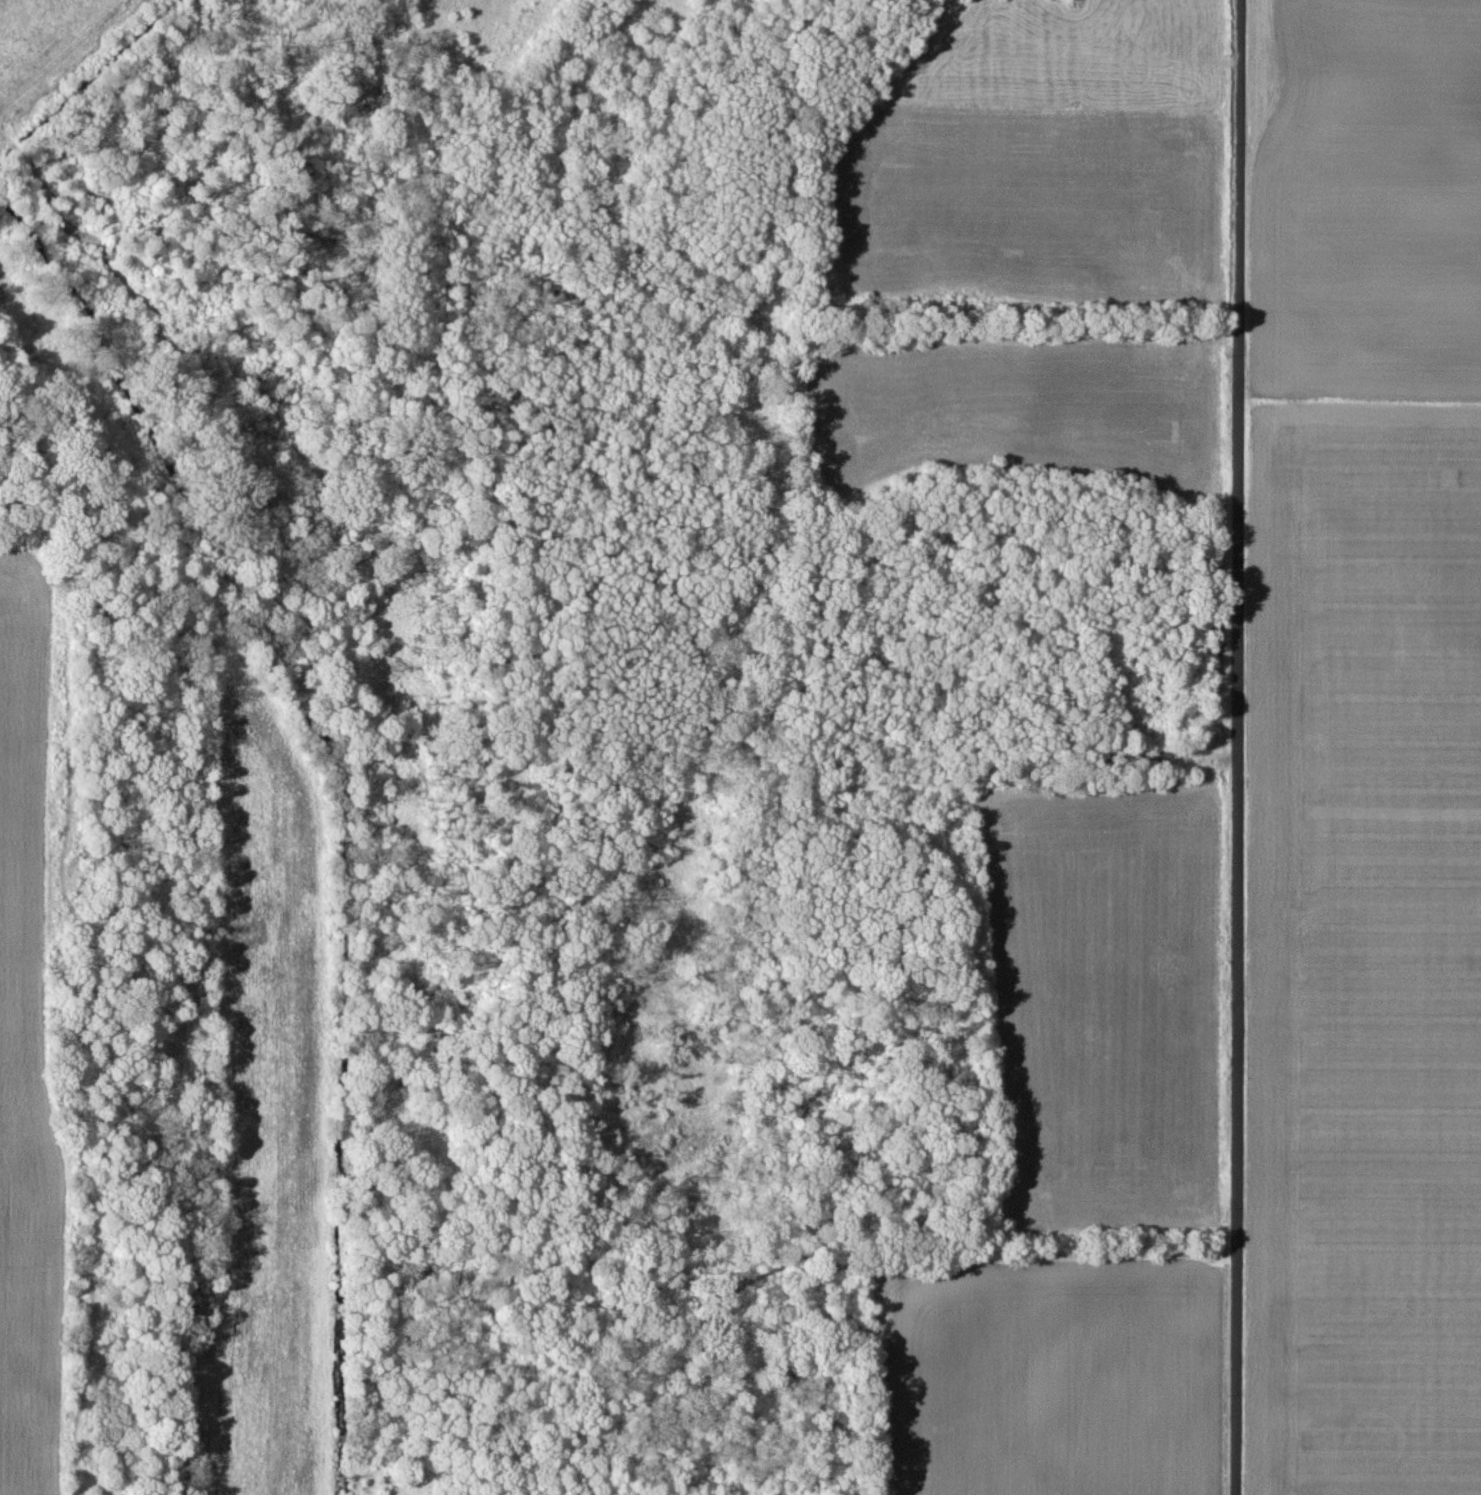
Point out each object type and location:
road: (1236, 747)

